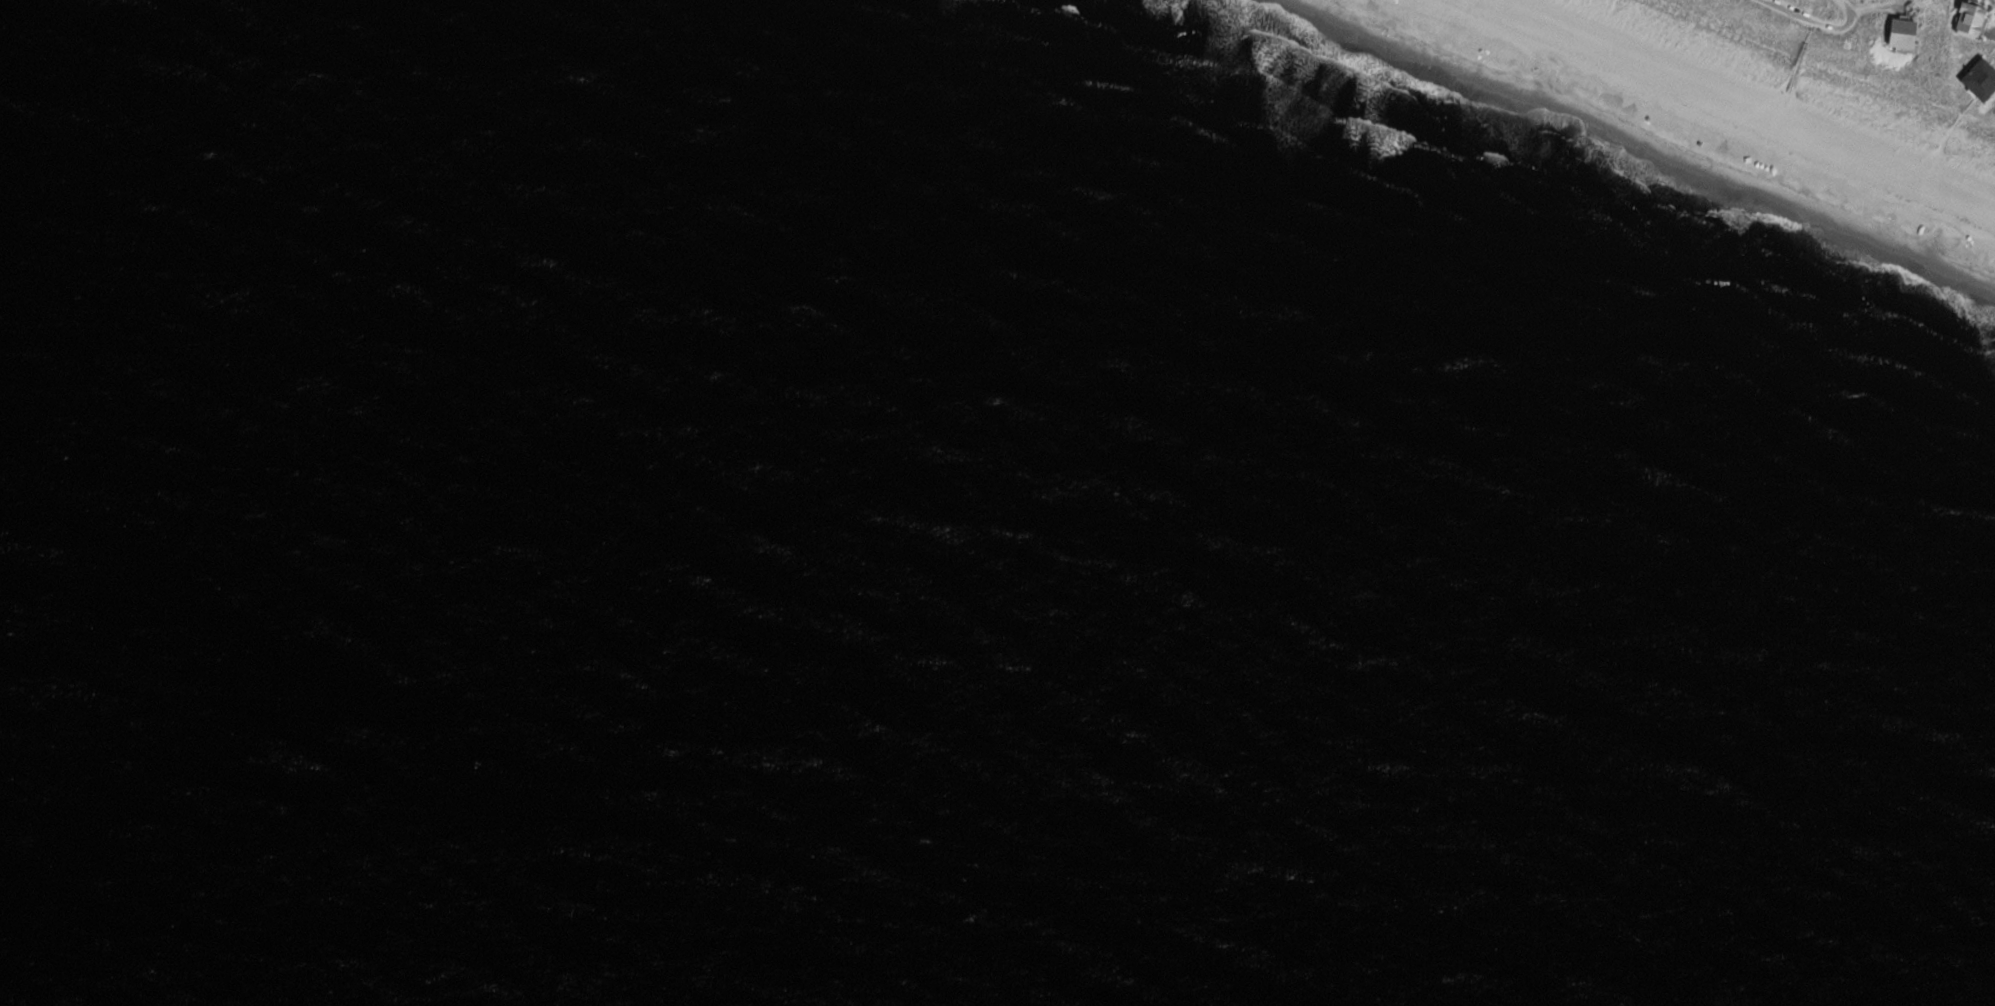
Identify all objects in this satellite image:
building: (1972, 19)
road: (1819, 26)
building: (1903, 32)
building: (1981, 77)

